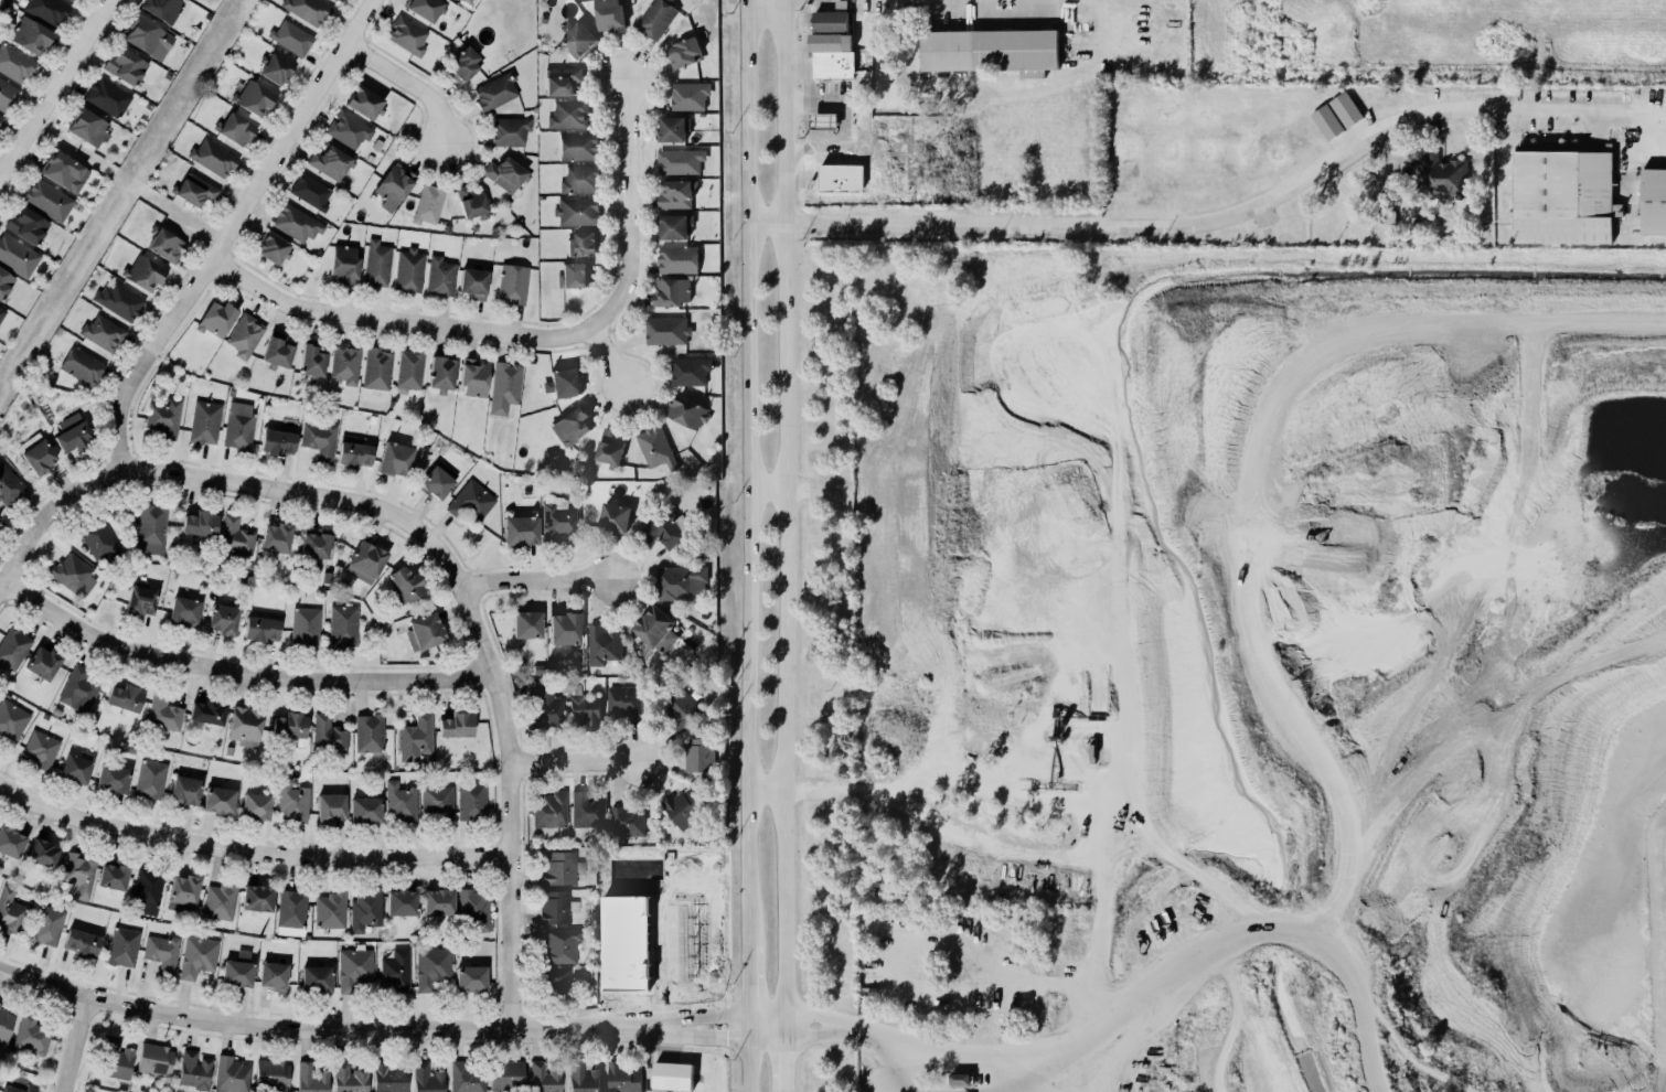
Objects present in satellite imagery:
building: (70, 0)
building: (75, 0)
building: (162, 8)
building: (425, 8)
building: (308, 9)
building: (46, 10)
road: (769, 14)
building: (608, 15)
road: (1099, 15)
building: (654, 18)
building: (830, 21)
building: (142, 33)
building: (29, 34)
building: (406, 34)
building: (291, 36)
building: (576, 36)
building: (991, 51)
building: (683, 52)
building: (832, 55)
building: (13, 61)
building: (462, 63)
building: (124, 64)
building: (274, 67)
building: (562, 81)
road: (407, 85)
road: (54, 87)
building: (494, 90)
building: (7, 93)
building: (687, 94)
building: (108, 97)
building: (254, 98)
road: (809, 101)
building: (365, 103)
building: (1346, 109)
building: (567, 114)
building: (0, 118)
road: (823, 120)
building: (824, 120)
building: (1327, 122)
building: (86, 126)
building: (671, 127)
building: (235, 128)
building: (346, 129)
building: (509, 131)
road: (1653, 133)
building: (577, 144)
road: (814, 148)
building: (212, 156)
building: (679, 160)
building: (330, 162)
building: (65, 171)
building: (504, 173)
building: (1440, 176)
building: (842, 178)
building: (580, 180)
building: (394, 186)
building: (195, 190)
building: (311, 191)
building: (674, 193)
building: (1563, 196)
building: (46, 199)
building: (471, 201)
building: (1653, 202)
building: (427, 203)
road: (629, 208)
building: (575, 211)
road: (1214, 221)
building: (295, 223)
building: (25, 224)
building: (673, 225)
road: (232, 232)
building: (583, 244)
building: (165, 245)
building: (273, 247)
building: (17, 255)
building: (677, 259)
building: (342, 263)
building: (375, 263)
building: (409, 270)
building: (142, 272)
building: (575, 275)
building: (438, 276)
building: (4, 281)
building: (473, 282)
building: (510, 283)
building: (671, 292)
building: (117, 299)
building: (1, 311)
building: (214, 317)
road: (397, 321)
building: (668, 331)
building: (102, 332)
building: (245, 335)
building: (276, 347)
building: (310, 361)
road: (609, 361)
building: (343, 362)
building: (82, 365)
building: (375, 367)
building: (409, 371)
building: (690, 371)
building: (441, 374)
building: (473, 377)
building: (503, 382)
building: (563, 383)
building: (687, 413)
building: (163, 416)
building: (205, 421)
building: (570, 424)
building: (238, 426)
building: (72, 436)
building: (318, 439)
building: (276, 441)
building: (608, 447)
building: (654, 447)
building: (354, 451)
building: (38, 456)
building: (394, 458)
road: (748, 470)
road: (1256, 477)
building: (437, 479)
building: (8, 485)
road: (768, 488)
building: (470, 501)
street lamp: (401, 505)
building: (0, 515)
building: (613, 516)
road: (47, 517)
road: (787, 518)
building: (555, 521)
building: (200, 523)
building: (151, 528)
building: (519, 529)
building: (665, 531)
building: (274, 536)
building: (233, 538)
building: (98, 539)
building: (313, 544)
building: (364, 560)
building: (71, 574)
road: (536, 579)
building: (680, 581)
building: (406, 582)
road: (473, 586)
street lamp: (545, 589)
road: (1470, 590)
street lamp: (455, 597)
building: (138, 600)
building: (183, 611)
building: (221, 619)
road: (472, 622)
building: (526, 624)
building: (306, 625)
building: (343, 625)
building: (259, 628)
building: (565, 628)
building: (653, 628)
building: (424, 631)
road: (494, 636)
building: (602, 644)
building: (12, 649)
building: (41, 662)
landfill: (1258, 668)
road: (238, 670)
road: (477, 671)
street lamp: (504, 677)
building: (78, 688)
building: (124, 696)
building: (623, 700)
road: (1524, 703)
building: (546, 708)
building: (205, 710)
building: (583, 710)
building: (682, 711)
building: (163, 713)
building: (11, 718)
building: (290, 725)
building: (455, 725)
building: (246, 726)
building: (370, 732)
building: (328, 734)
building: (414, 737)
building: (40, 748)
building: (699, 754)
road: (575, 760)
road: (521, 763)
building: (75, 768)
street lamp: (500, 772)
building: (113, 778)
building: (150, 780)
building: (183, 790)
building: (218, 800)
building: (436, 800)
building: (291, 801)
building: (401, 801)
building: (471, 802)
building: (256, 805)
building: (331, 807)
building: (683, 807)
building: (365, 809)
building: (548, 810)
building: (586, 810)
building: (624, 821)
building: (10, 841)
road: (248, 850)
building: (43, 853)
road: (1034, 853)
building: (556, 867)
building: (79, 871)
building: (113, 875)
building: (148, 887)
building: (183, 892)
building: (257, 898)
building: (220, 901)
building: (399, 901)
building: (437, 901)
building: (553, 906)
building: (290, 907)
building: (329, 909)
building: (364, 909)
building: (11, 910)
building: (46, 925)
road: (1237, 940)
building: (79, 942)
building: (559, 944)
building: (121, 945)
building: (161, 952)
building: (195, 955)
building: (430, 967)
building: (395, 970)
building: (235, 972)
building: (274, 975)
building: (317, 977)
building: (471, 978)
building: (555, 979)
road: (749, 989)
building: (0, 1004)
road: (724, 1013)
road: (816, 1015)
building: (6, 1025)
street lamp: (713, 1026)
road: (329, 1028)
road: (814, 1034)
road: (866, 1034)
building: (31, 1036)
road: (724, 1036)
traffic signals: (725, 1037)
road: (81, 1043)
road: (665, 1043)
road: (955, 1051)
building: (116, 1058)
building: (156, 1059)
road: (749, 1064)
road: (786, 1066)
building: (193, 1070)
road: (895, 1071)
building: (232, 1074)
building: (271, 1074)
building: (508, 1074)
building: (387, 1077)
building: (545, 1077)
building: (672, 1077)
building: (348, 1078)
building: (426, 1078)
building: (467, 1078)
building: (584, 1078)
building: (623, 1078)
road: (888, 1078)
building: (958, 1079)
building: (311, 1080)
road: (1010, 1083)
building: (18, 1089)
road: (997, 1091)

